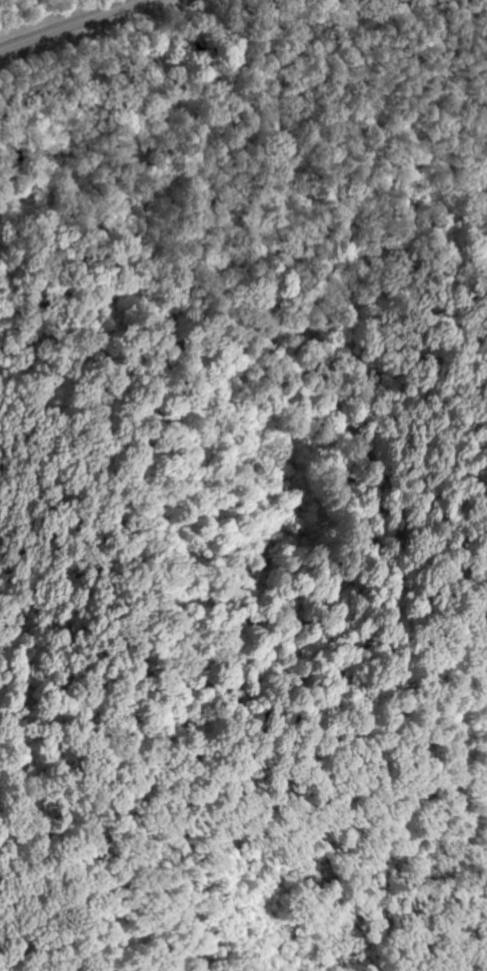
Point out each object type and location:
road: (71, 22)

